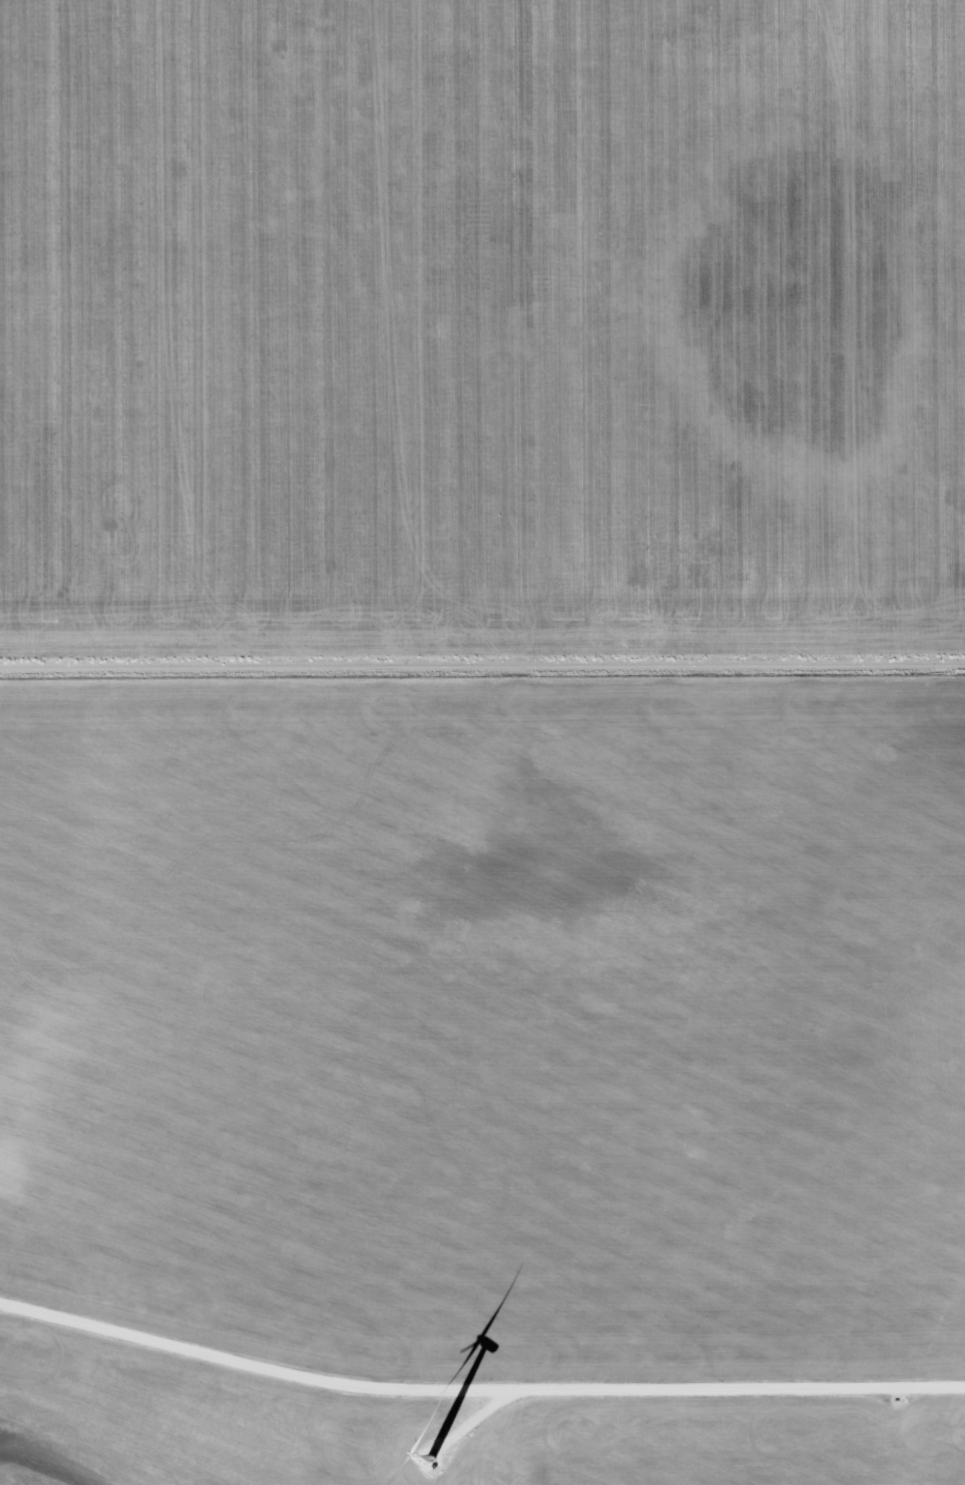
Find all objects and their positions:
road: (482, 666)
road: (477, 1390)
road: (475, 1418)
wind turbine: (429, 1466)

